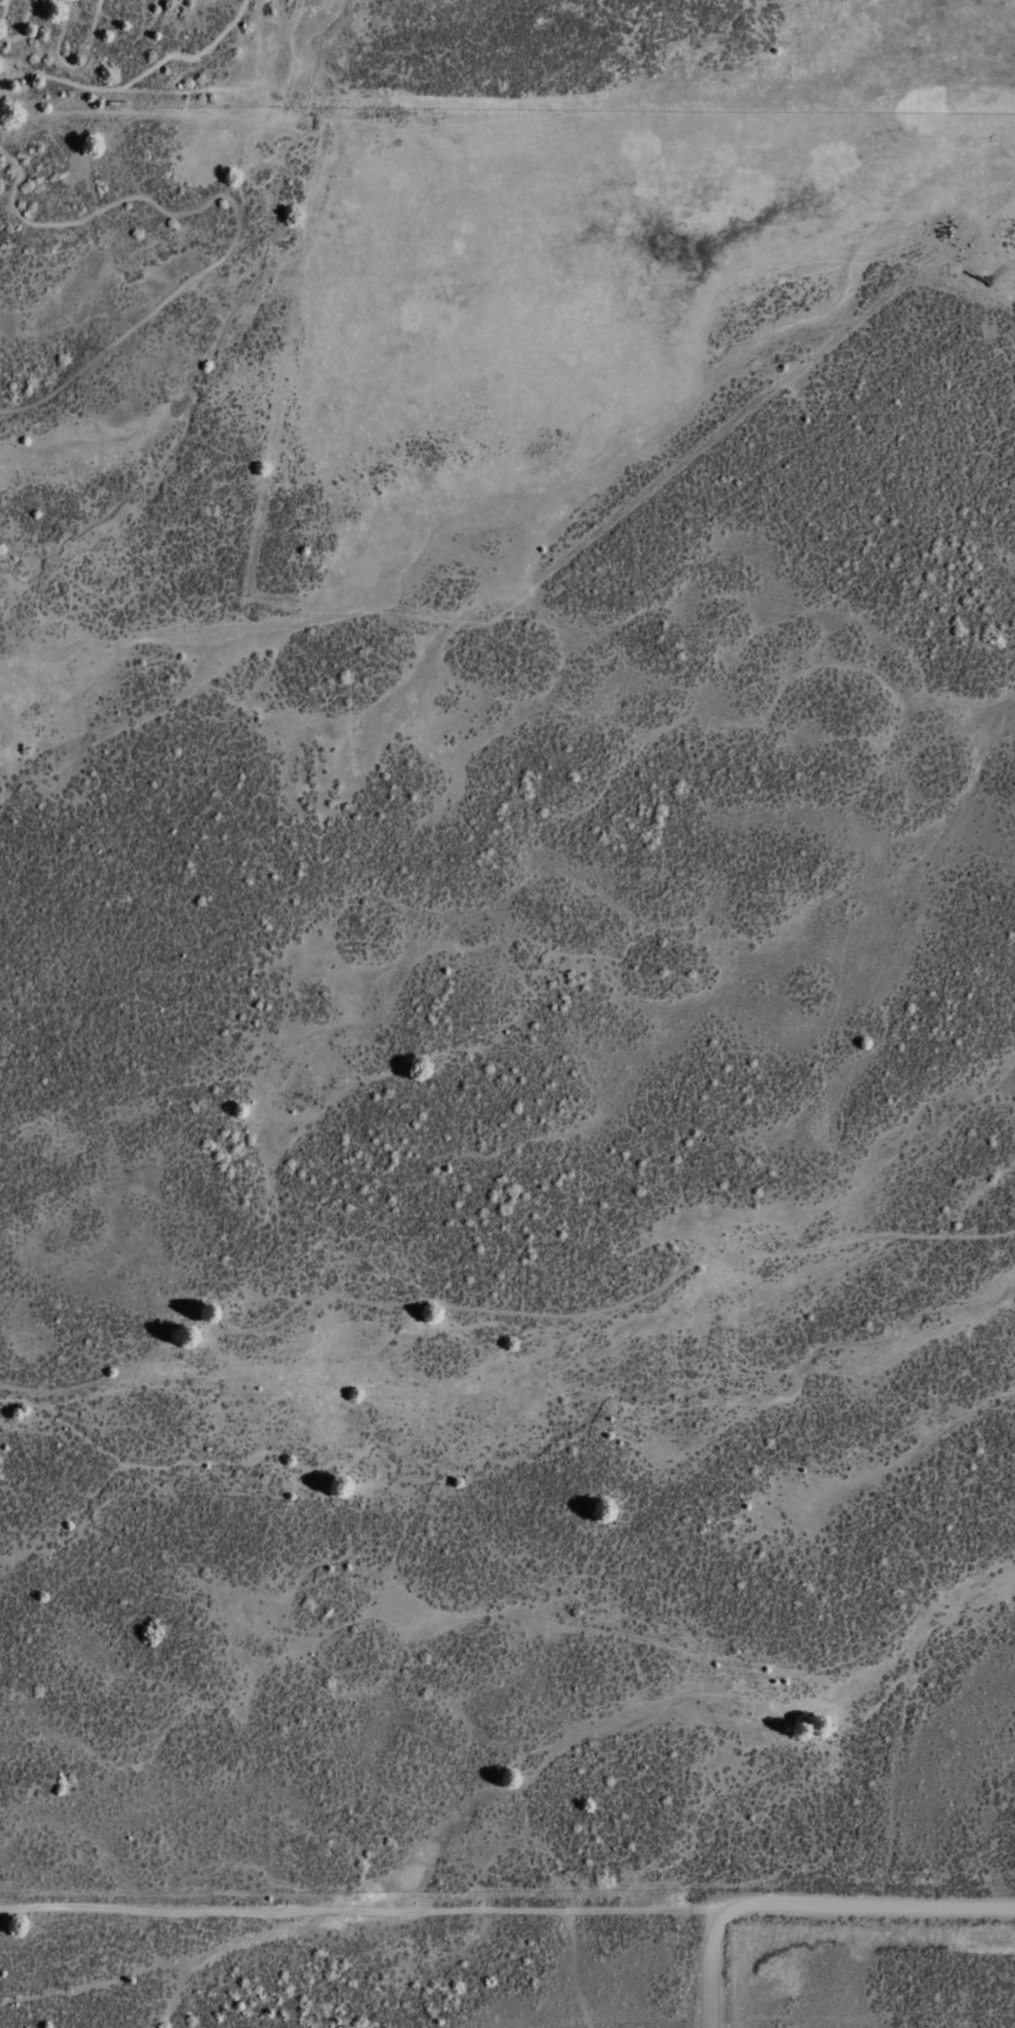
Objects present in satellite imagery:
road: (2, 11)
road: (20, 26)
road: (70, 65)
road: (224, 253)
crop: (529, 1032)
road: (503, 1311)
road: (869, 1903)
road: (362, 1910)
road: (712, 1967)

